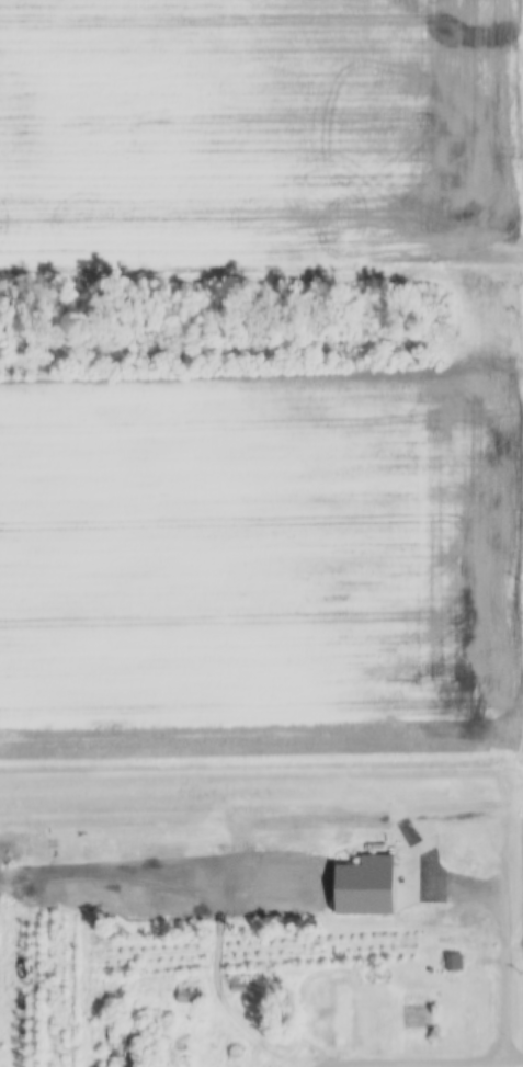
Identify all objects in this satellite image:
road: (261, 264)
airport runway: (257, 797)
airport taxiway: (509, 856)
building: (360, 887)
road: (504, 932)
building: (451, 964)
building: (185, 996)
building: (323, 1008)
road: (432, 1066)

